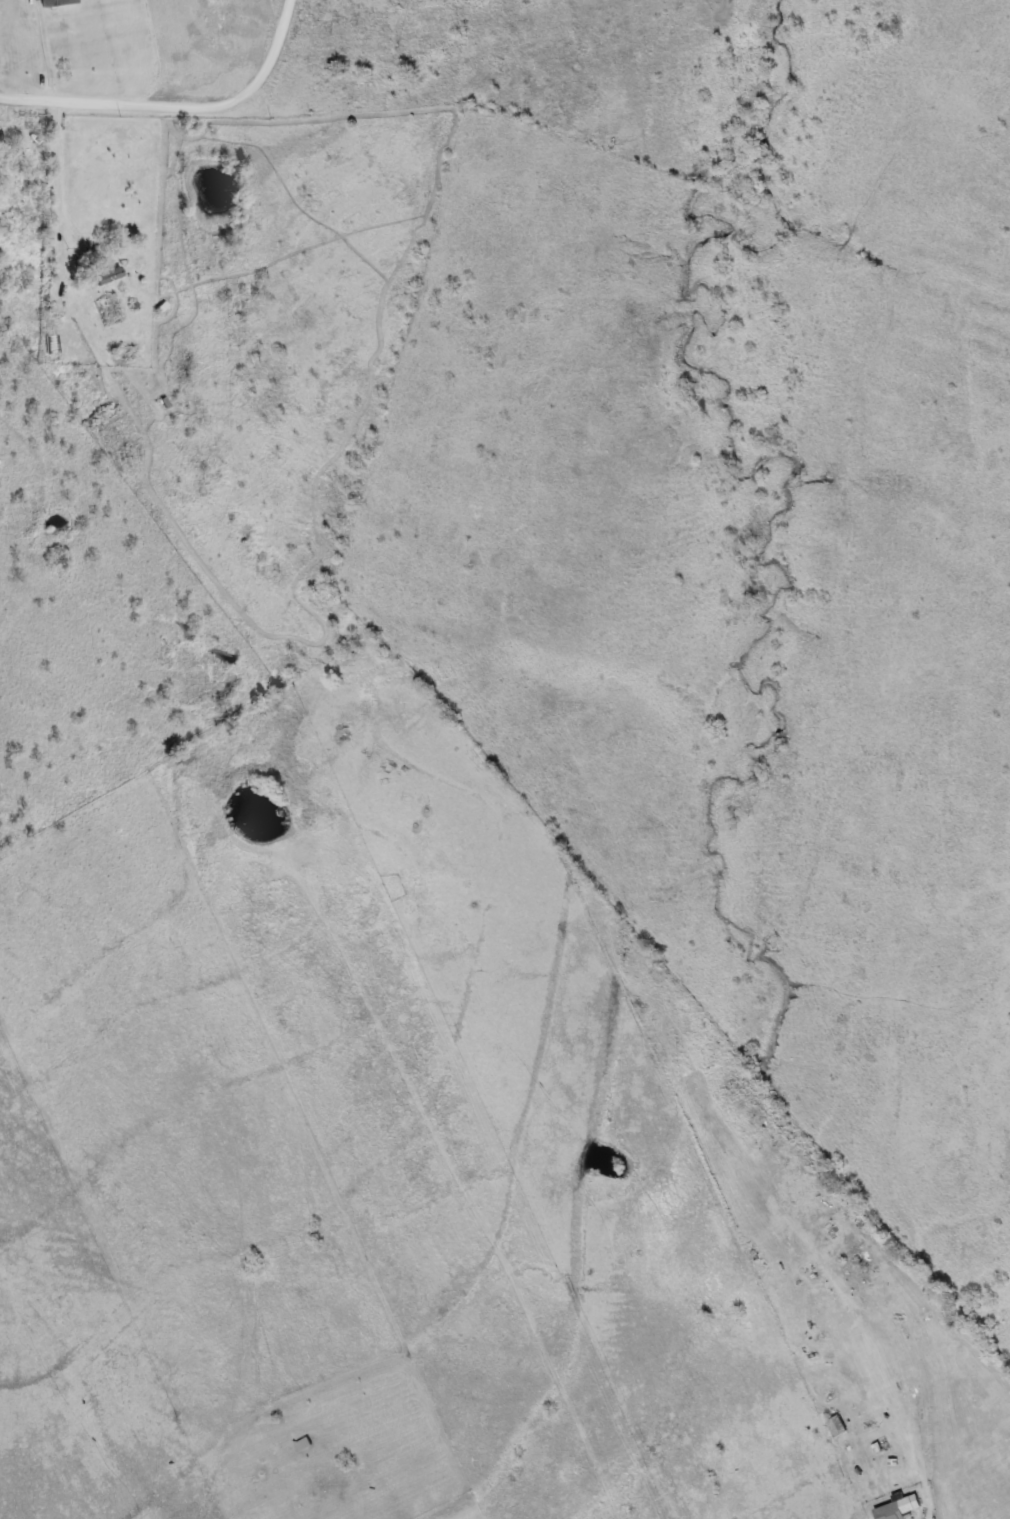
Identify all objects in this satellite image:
building: (55, 2)
road: (182, 109)
road: (51, 118)
building: (108, 274)
building: (831, 1391)
building: (836, 1426)
building: (881, 1448)
building: (898, 1507)

